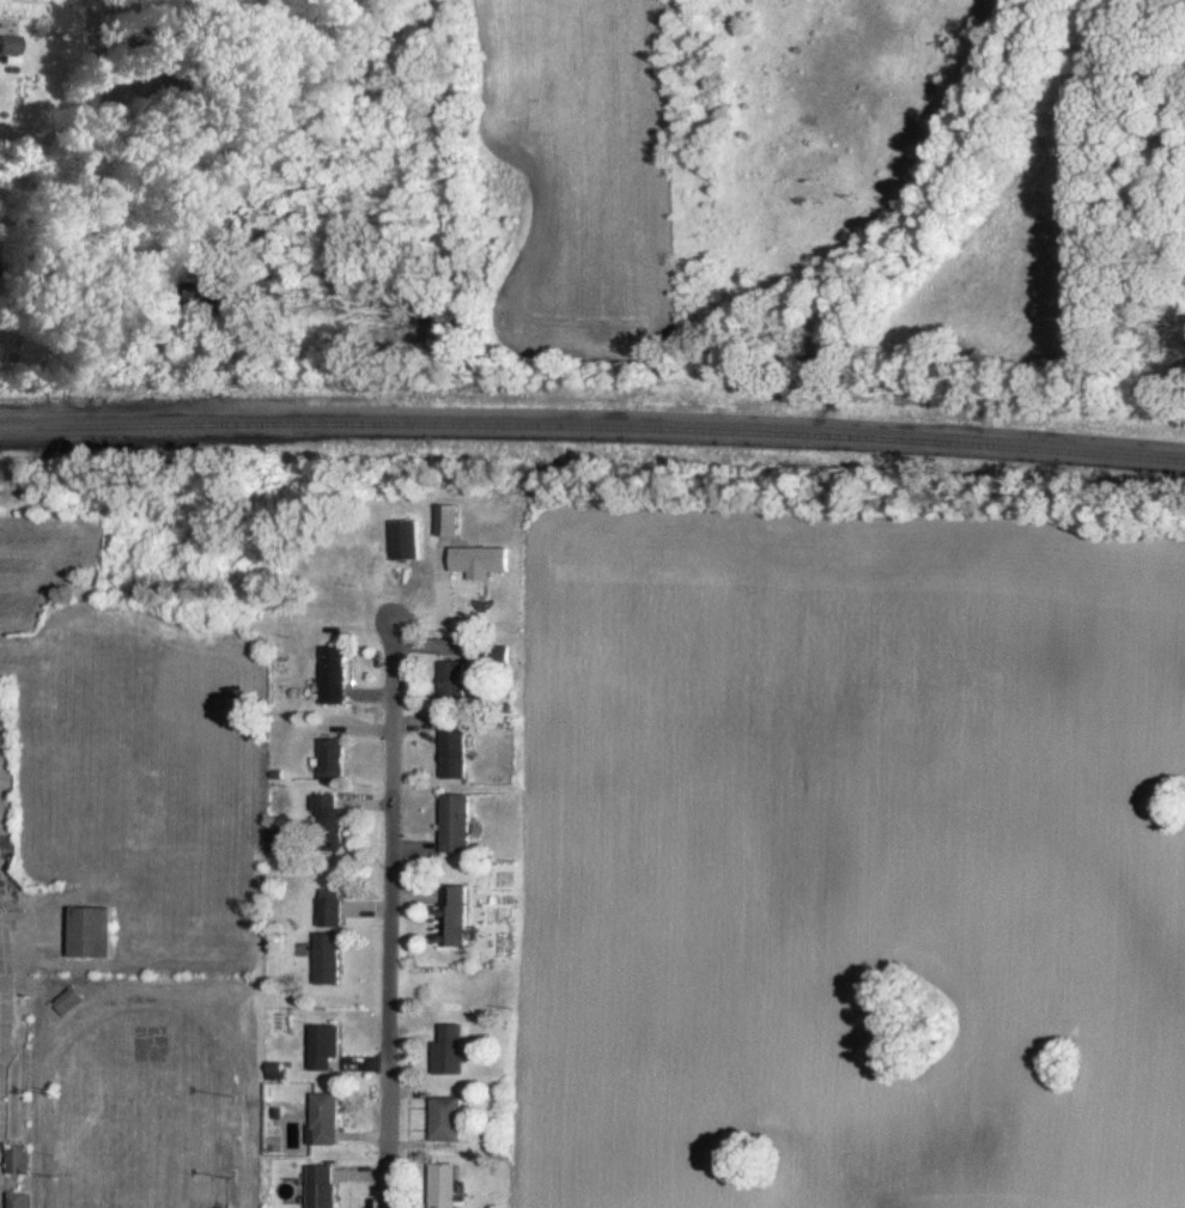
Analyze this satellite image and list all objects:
building: (10, 42)
road: (89, 229)
building: (208, 291)
railway: (592, 425)
building: (444, 518)
building: (402, 538)
building: (475, 559)
building: (493, 655)
building: (330, 673)
building: (449, 680)
park: (133, 742)
building: (451, 751)
building: (329, 757)
building: (327, 819)
building: (454, 820)
building: (330, 905)
road: (393, 913)
building: (454, 913)
building: (92, 930)
building: (329, 957)
building: (72, 1000)
building: (327, 1045)
building: (454, 1049)
road: (7, 1066)
building: (452, 1116)
building: (329, 1117)
track: (48, 1151)
building: (22, 1158)
building: (450, 1184)
building: (328, 1185)
building: (20, 1198)

